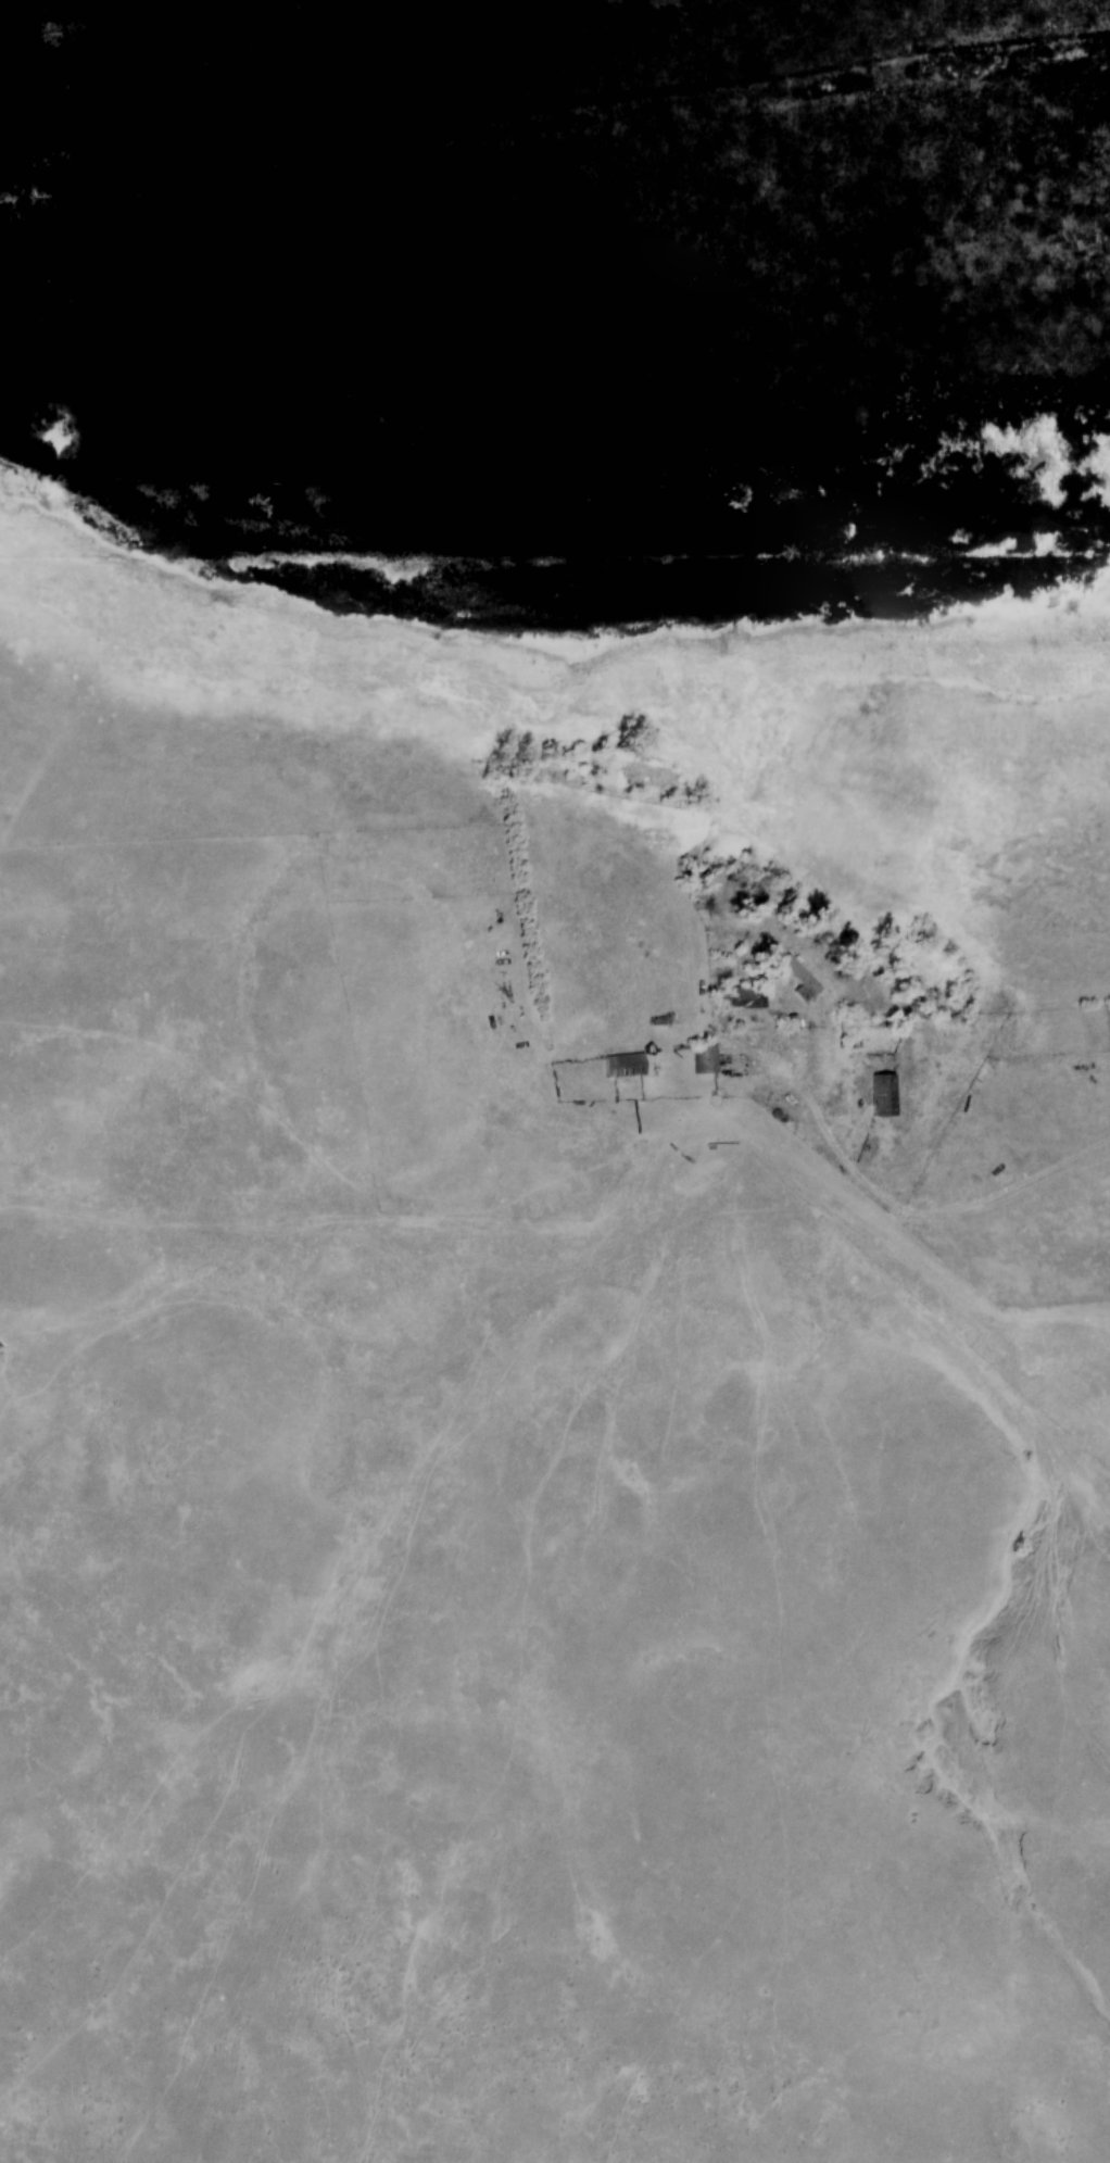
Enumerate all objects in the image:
building: (797, 979)
building: (745, 997)
building: (703, 1060)
building: (622, 1066)
building: (882, 1096)
road: (896, 1217)

